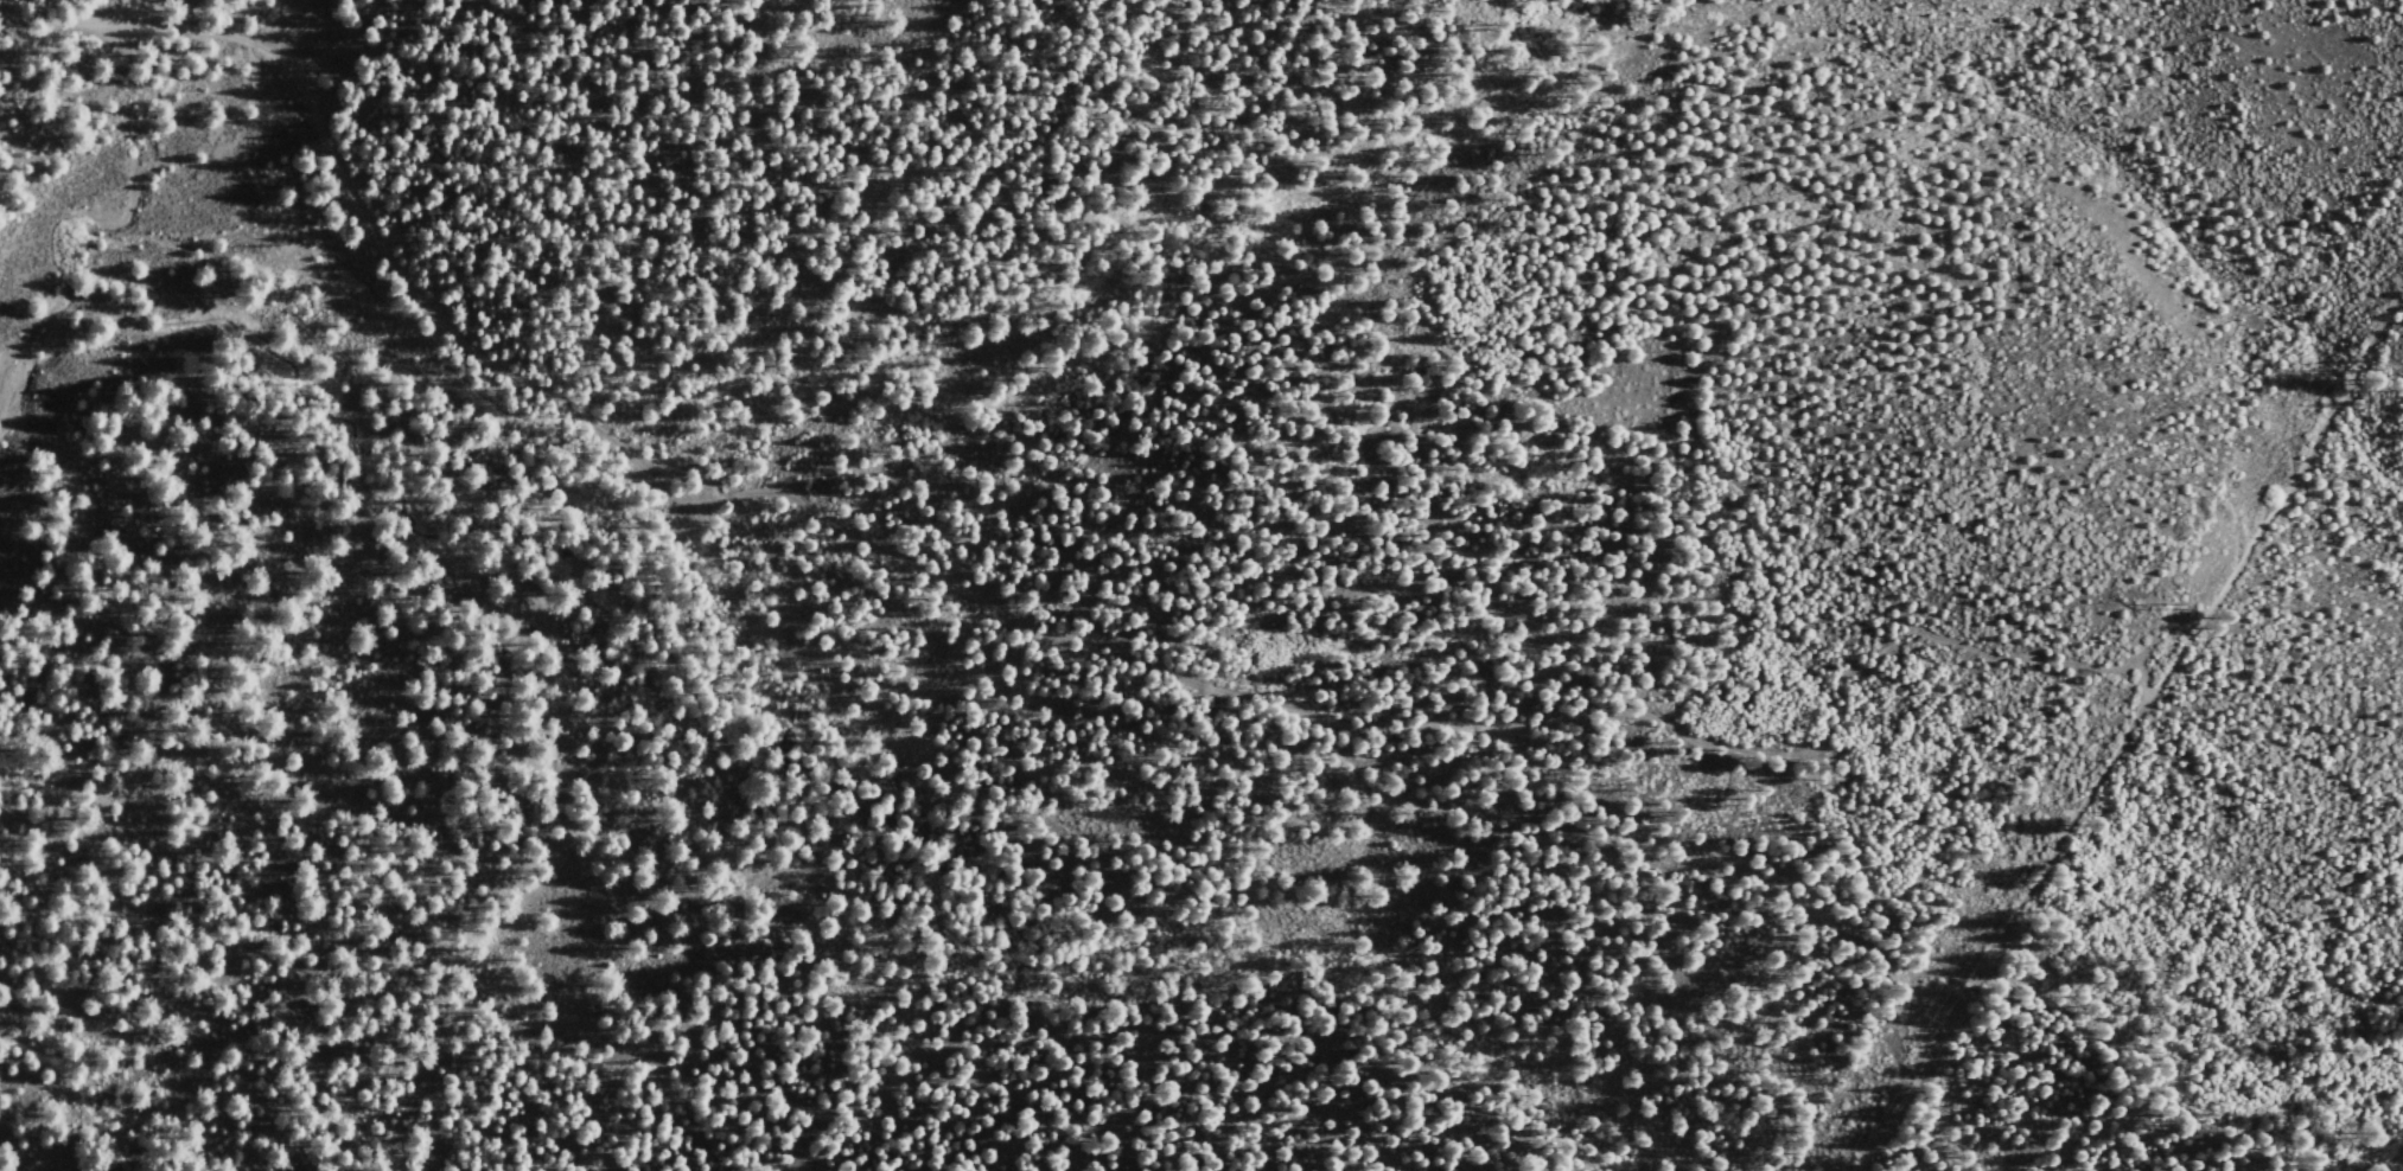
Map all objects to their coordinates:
power tower: (2176, 602)
road: (1022, 626)
road: (2130, 734)
power tower: (1919, 1015)

